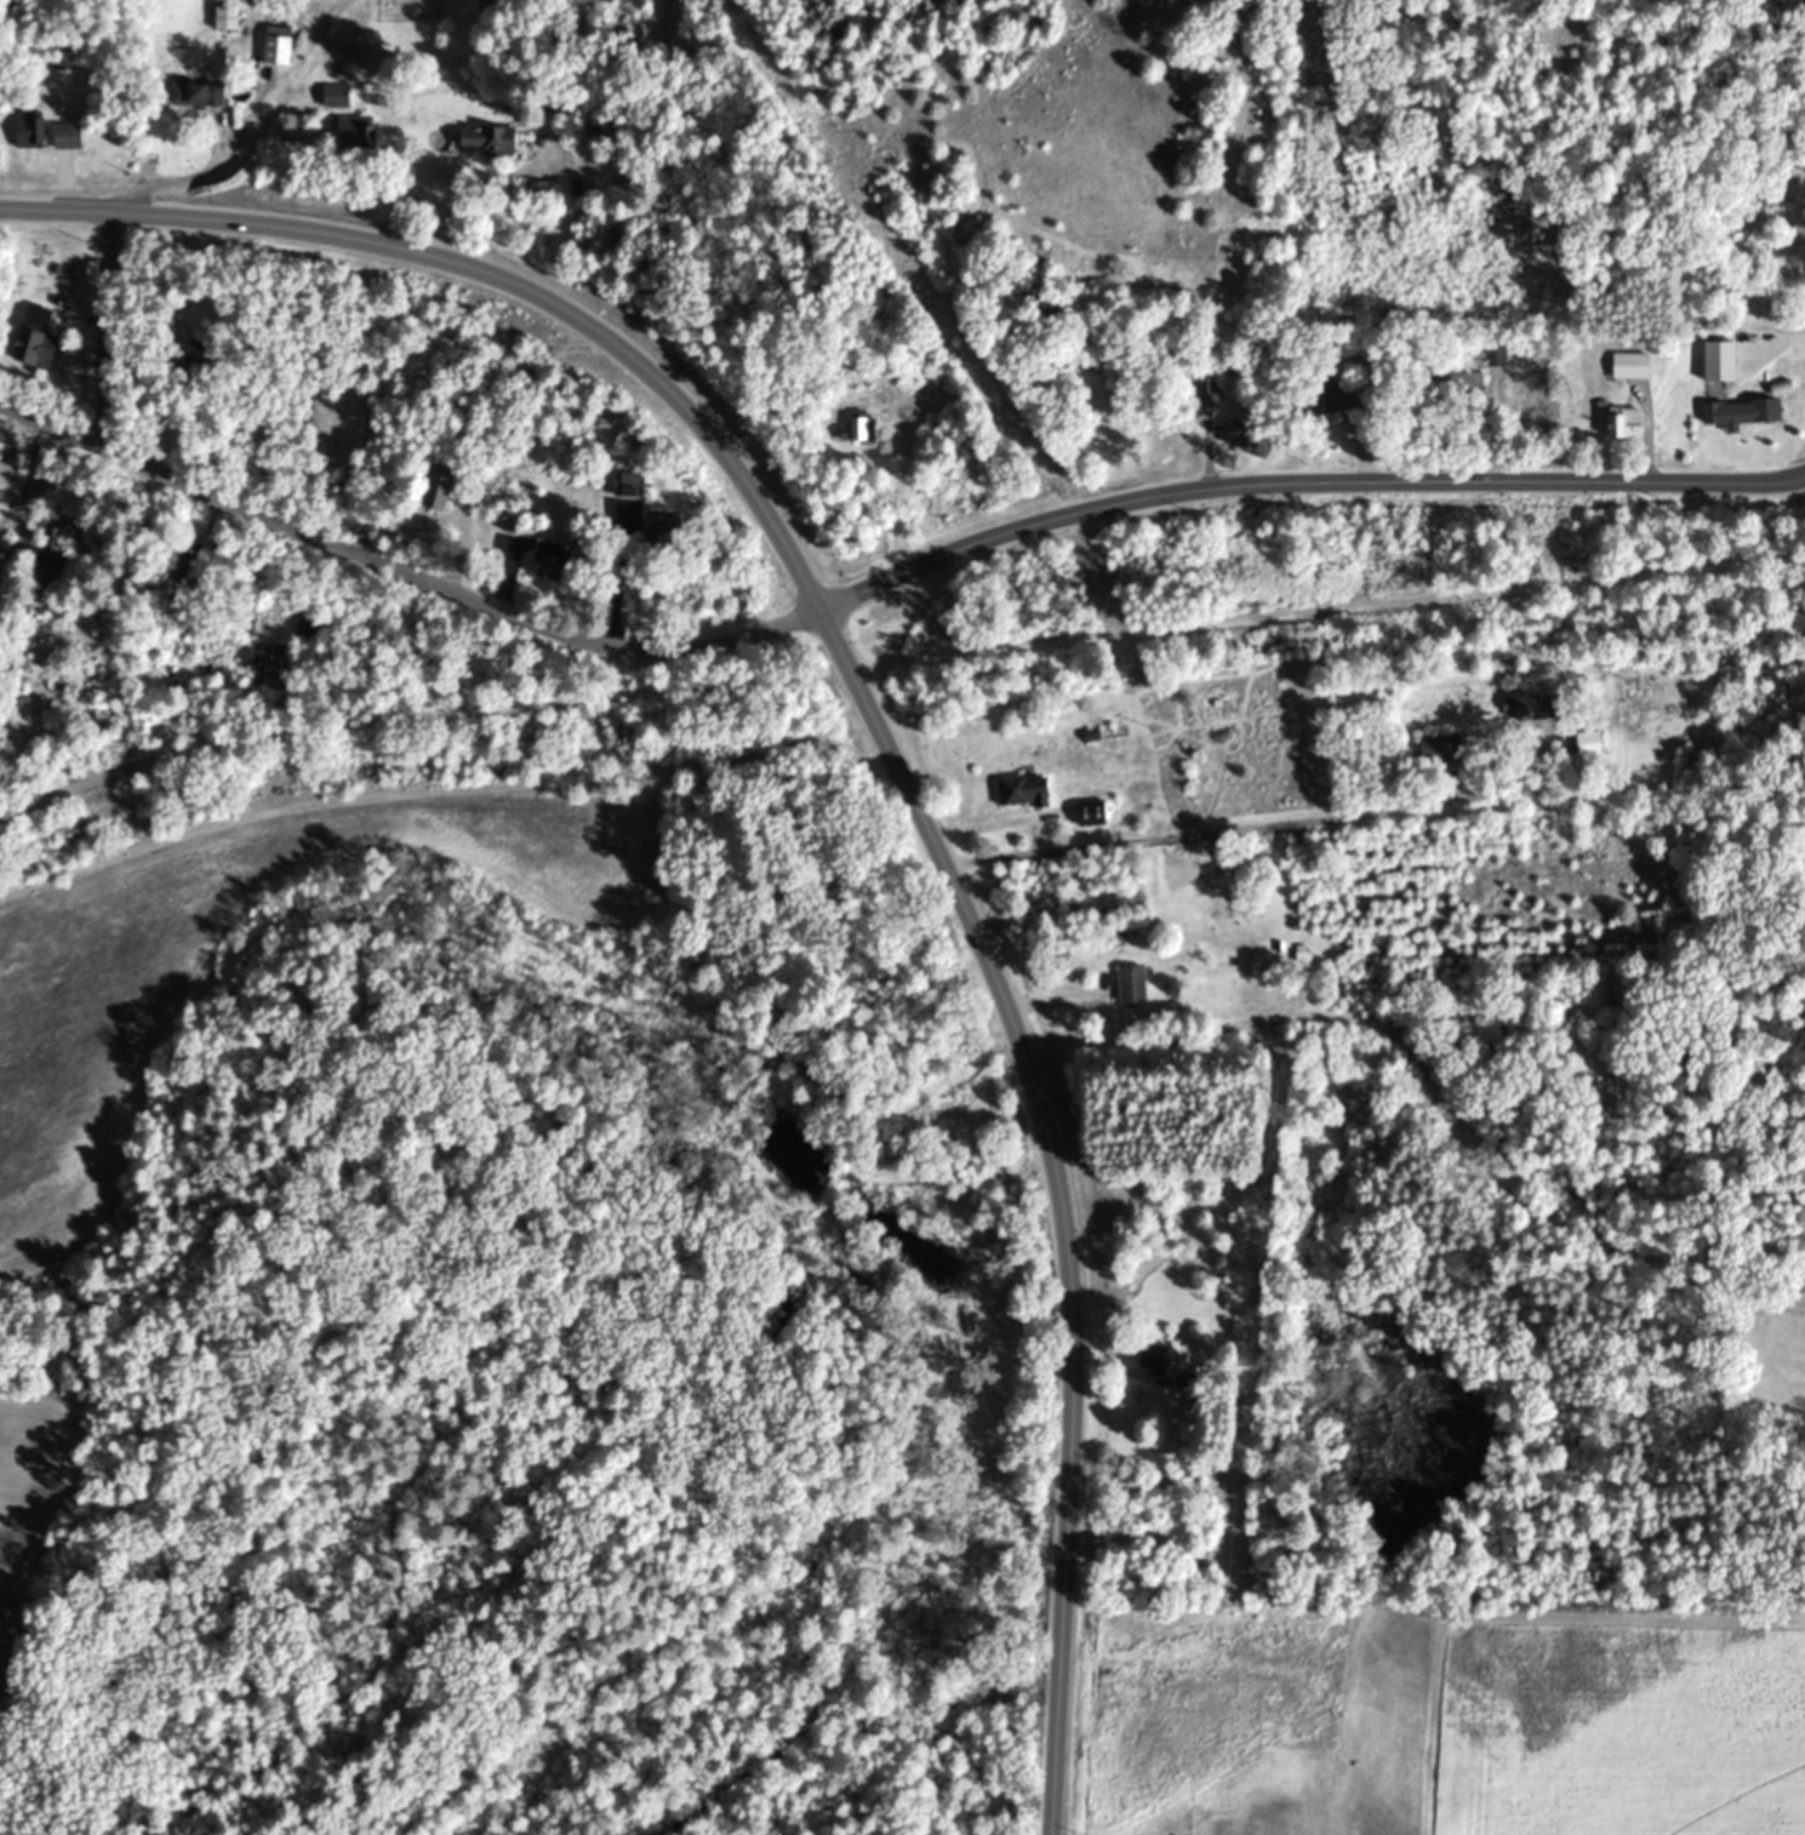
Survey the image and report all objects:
building: (223, 18)
building: (274, 46)
building: (195, 96)
building: (333, 98)
building: (497, 128)
building: (25, 132)
building: (354, 133)
building: (65, 139)
building: (546, 176)
road: (62, 181)
building: (1798, 233)
road: (481, 273)
road: (99, 330)
building: (34, 339)
road: (1777, 339)
building: (1493, 353)
building: (1718, 361)
building: (1630, 366)
building: (1461, 383)
building: (1348, 396)
building: (1725, 415)
building: (1621, 421)
building: (857, 430)
building: (1240, 434)
road: (1206, 447)
road: (1360, 451)
road: (1302, 484)
building: (632, 486)
building: (436, 488)
building: (661, 532)
building: (51, 533)
building: (550, 562)
road: (404, 571)
building: (183, 579)
building: (310, 628)
road: (898, 664)
building: (1530, 709)
building: (1586, 743)
building: (1021, 793)
road: (1252, 824)
building: (1130, 985)
road: (1189, 1021)
road: (1063, 1196)
building: (1152, 1360)

